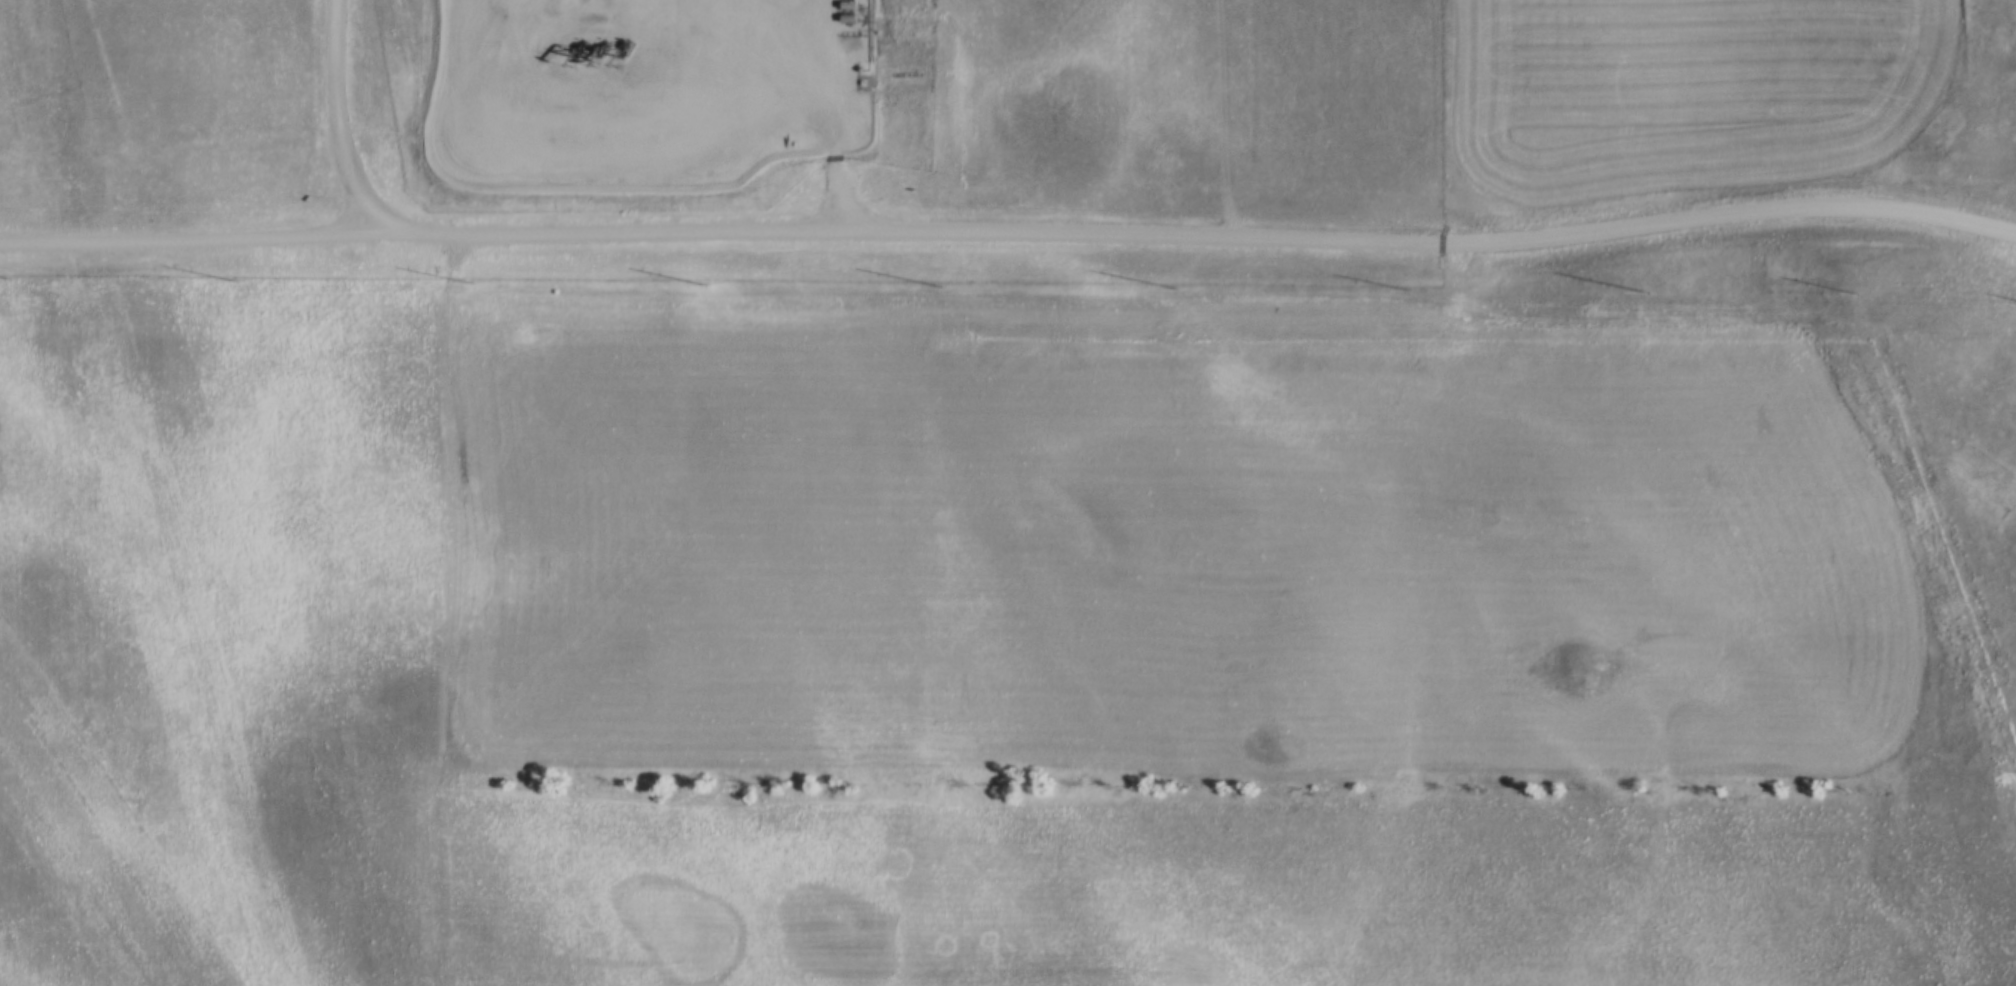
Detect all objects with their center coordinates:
road: (336, 130)
road: (1211, 237)
road: (199, 240)

